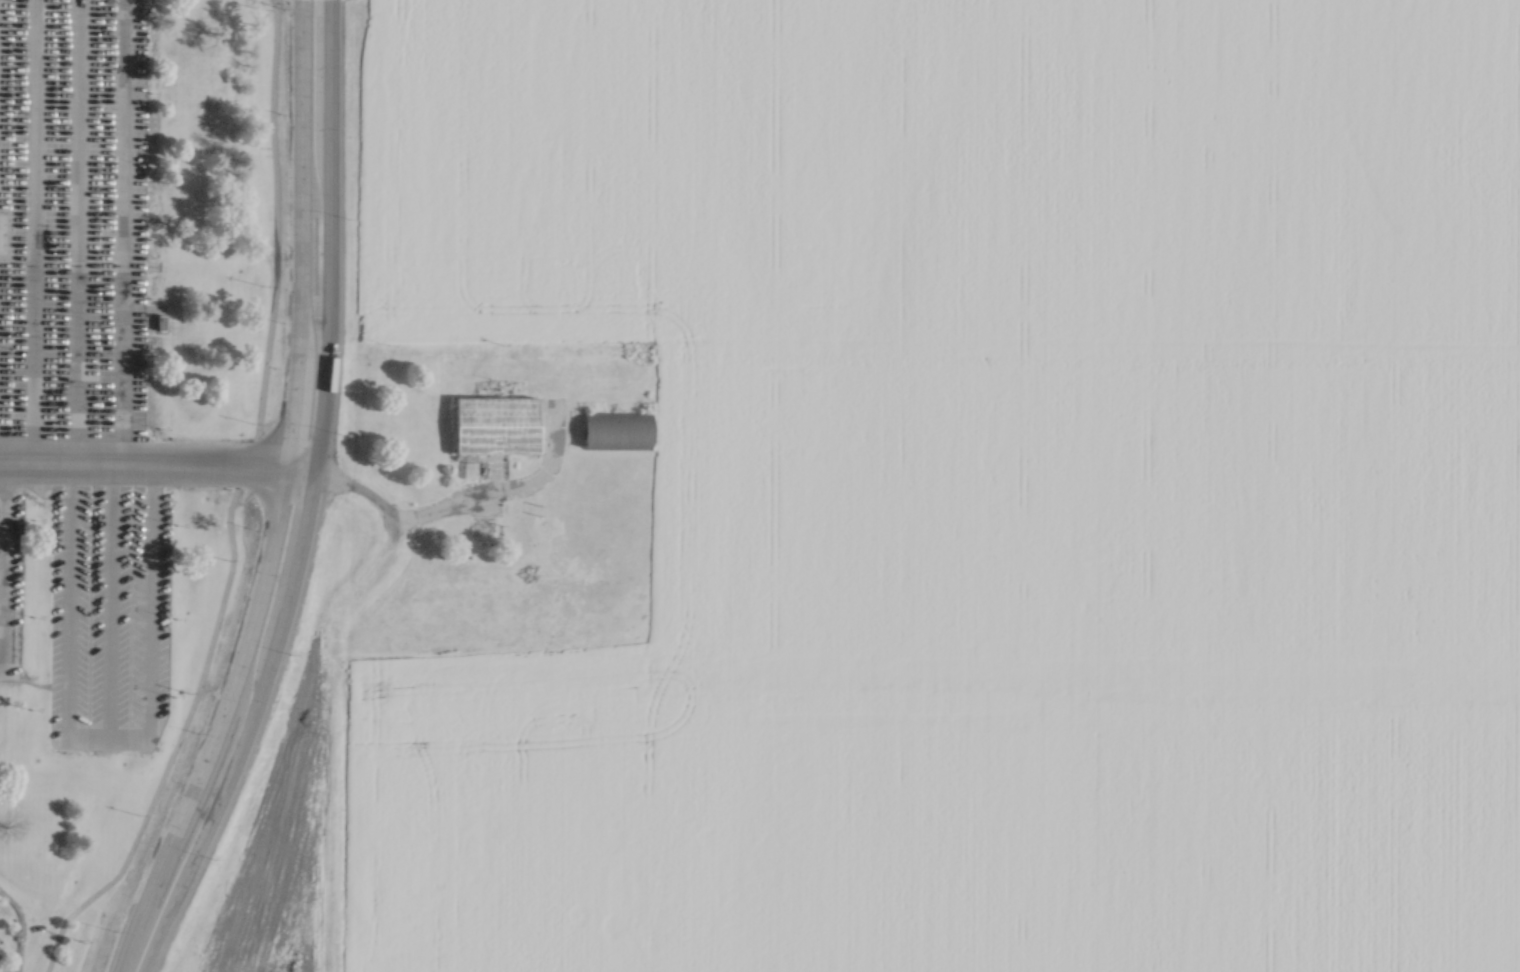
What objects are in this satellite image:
street lamp: (282, 110)
street lamp: (347, 214)
street lamp: (282, 319)
building: (494, 422)
building: (614, 427)
street lamp: (340, 430)
road: (311, 463)
road: (141, 468)
road: (282, 471)
crop: (974, 487)
road: (486, 498)
road: (225, 507)
street lamp: (255, 526)
street lamp: (291, 651)
road: (330, 674)
street lamp: (195, 728)
street lamp: (213, 856)
street lamp: (113, 926)
road: (19, 927)
road: (153, 937)
road: (122, 944)

